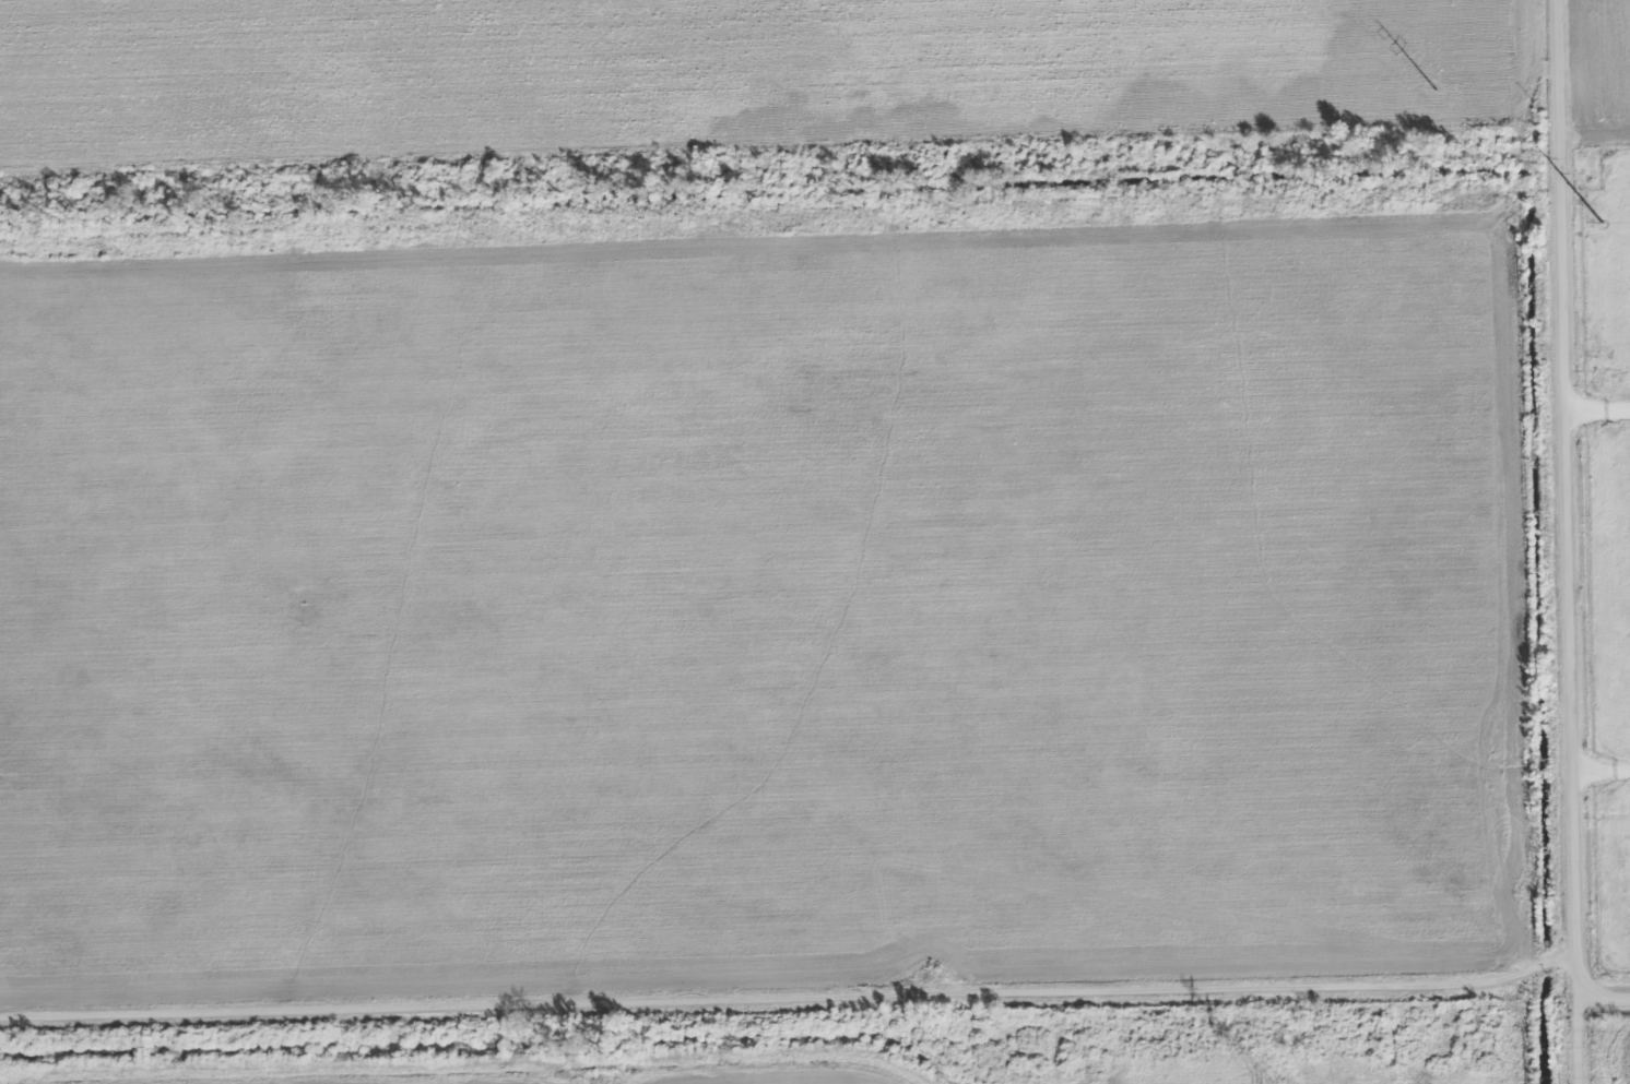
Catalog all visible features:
power tower: (1433, 88)
power tower: (1597, 223)
road: (1595, 408)
road: (1562, 522)
power substation: (1608, 538)
road: (1598, 770)

